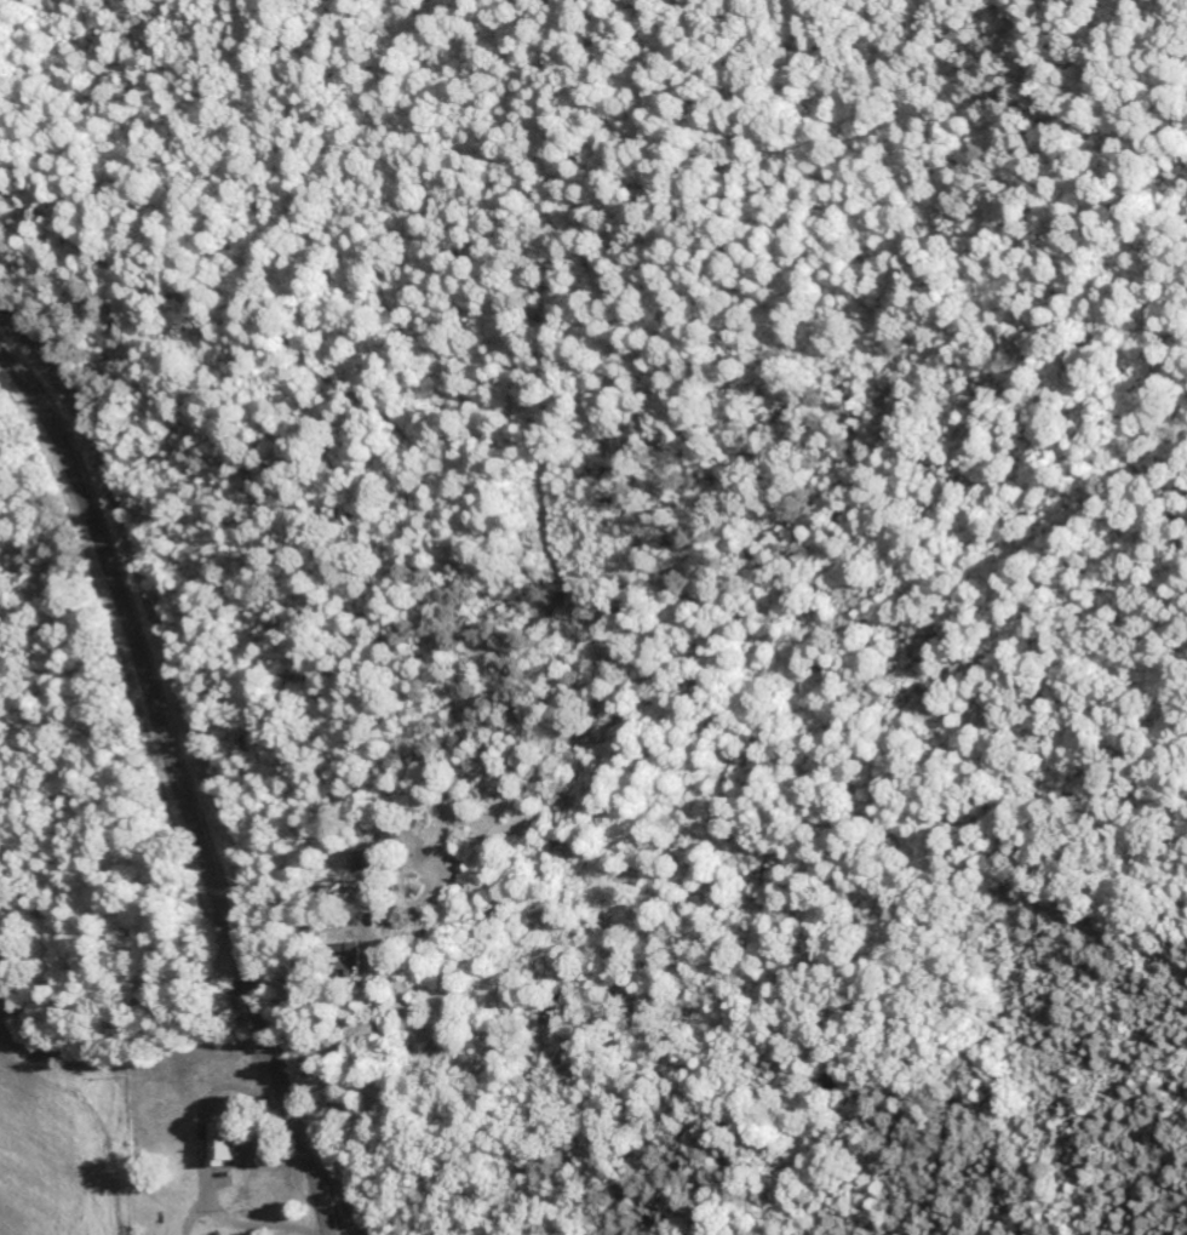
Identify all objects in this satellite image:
road: (180, 785)
building: (374, 861)
building: (352, 960)
building: (224, 1143)

